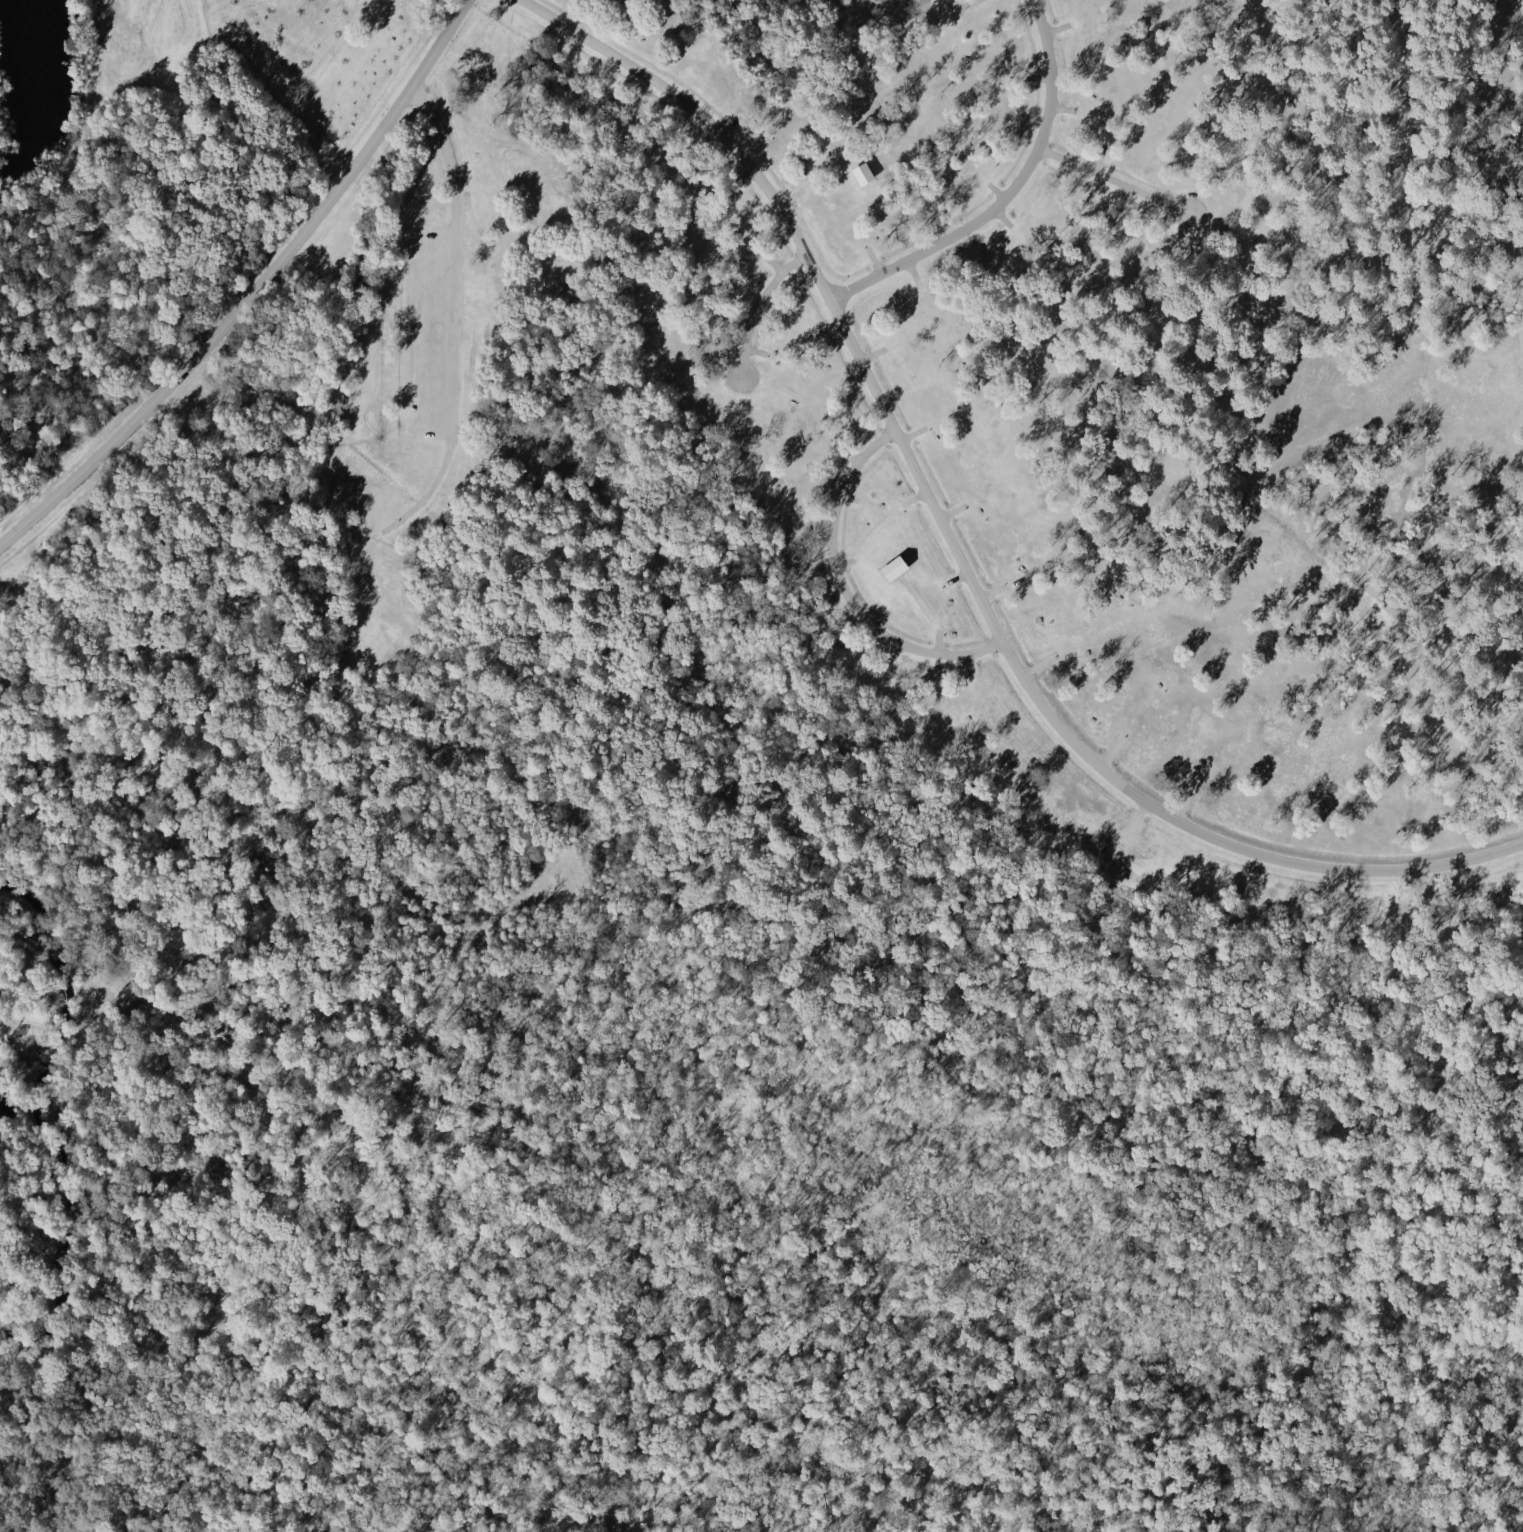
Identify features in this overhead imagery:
road: (963, 6)
park: (289, 15)
road: (1055, 27)
road: (858, 60)
park: (189, 70)
road: (1037, 76)
road: (1063, 108)
road: (727, 125)
road: (84, 129)
road: (1095, 159)
road: (1401, 169)
road: (1066, 172)
building: (861, 174)
road: (741, 176)
road: (1117, 182)
road: (997, 192)
road: (787, 195)
road: (1011, 197)
road: (1119, 197)
road: (1003, 218)
road: (874, 262)
road: (772, 265)
road: (911, 273)
road: (258, 295)
road: (1505, 298)
road: (758, 310)
road: (745, 312)
road: (450, 316)
road: (763, 320)
road: (827, 326)
parking lot: (427, 334)
road: (754, 350)
road: (871, 352)
road: (1521, 415)
road: (911, 432)
road: (848, 454)
road: (915, 495)
road: (850, 498)
road: (952, 509)
park: (0, 521)
road: (377, 538)
road: (821, 540)
road: (958, 545)
road: (842, 561)
building: (892, 568)
road: (956, 577)
road: (995, 588)
road: (847, 591)
road: (916, 601)
road: (874, 617)
road: (850, 621)
road: (935, 640)
road: (891, 651)
road: (1037, 663)
road: (967, 664)
road: (1109, 749)
park: (761, 766)
road: (1181, 801)
road: (1133, 817)
road: (252, 842)
road: (1343, 892)
road: (1408, 894)
river: (34, 1116)

